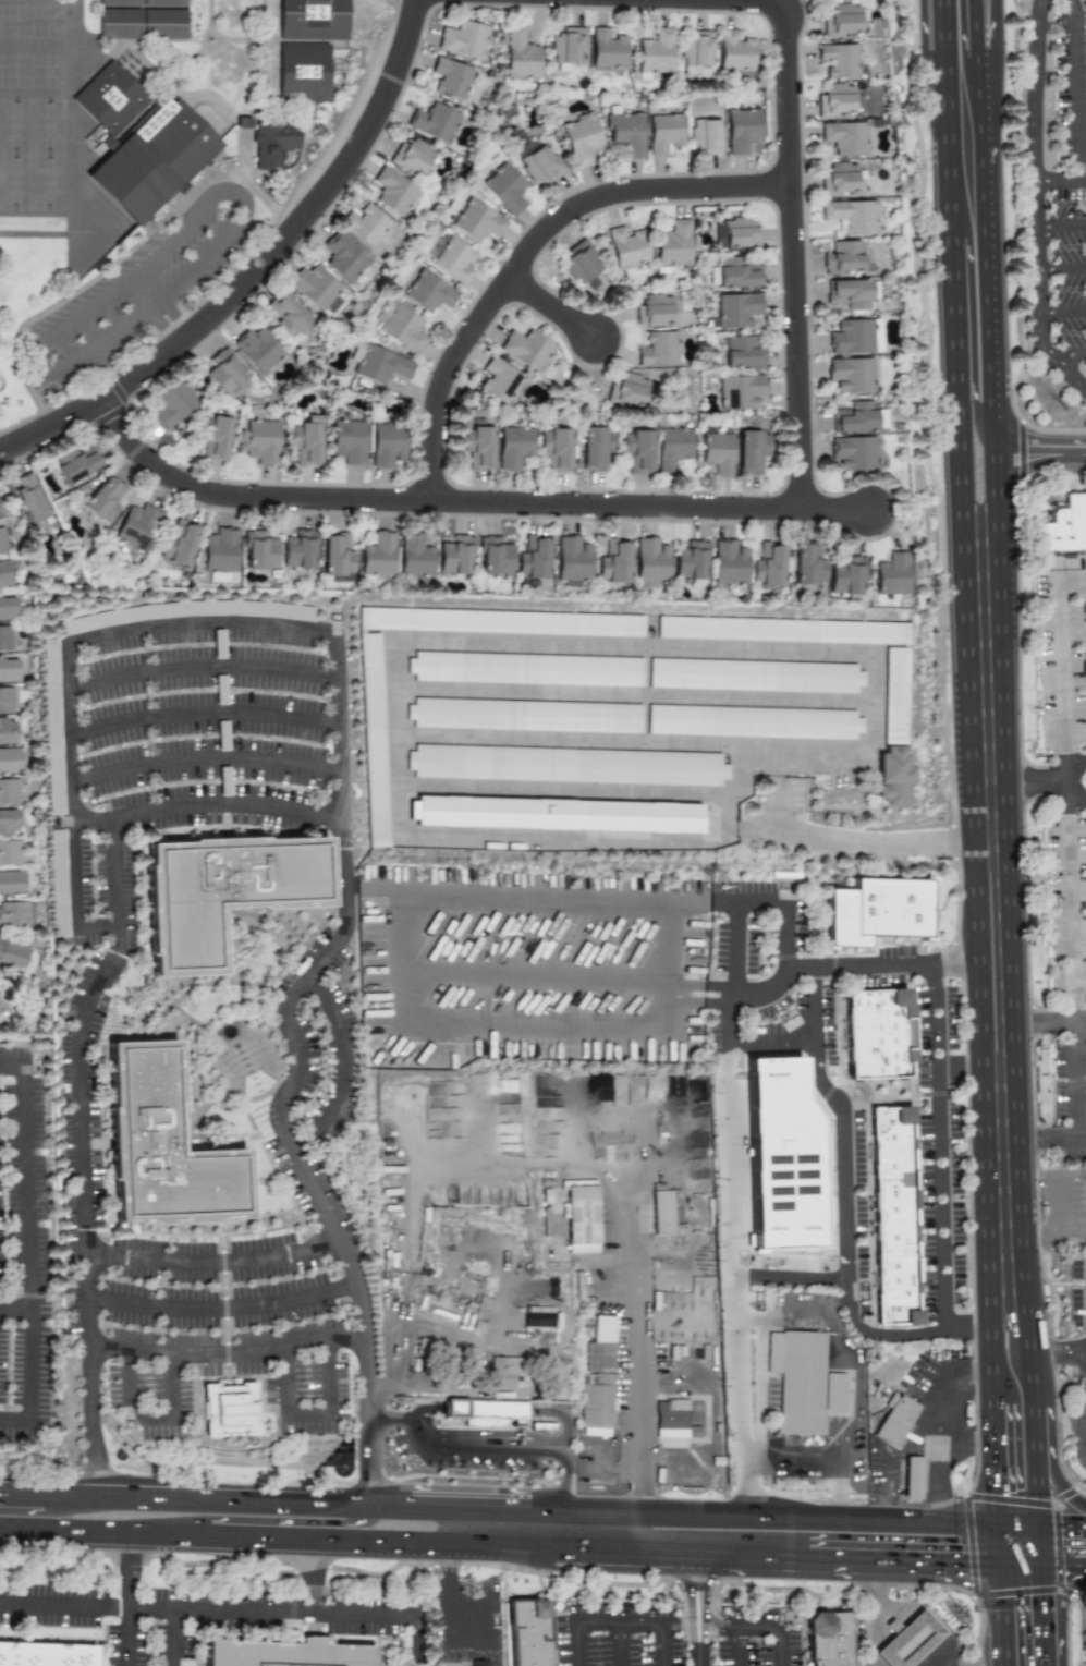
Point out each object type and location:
building: (123, 3)
building: (168, 3)
building: (317, 20)
building: (841, 21)
road: (974, 25)
building: (123, 26)
building: (167, 26)
building: (463, 39)
building: (566, 48)
building: (606, 49)
building: (696, 52)
building: (734, 52)
building: (655, 53)
building: (520, 54)
building: (838, 59)
building: (306, 75)
building: (451, 77)
road: (1075, 89)
building: (111, 101)
building: (835, 101)
building: (435, 122)
building: (742, 130)
building: (664, 133)
building: (624, 134)
building: (705, 136)
building: (844, 138)
building: (581, 139)
building: (178, 144)
building: (277, 147)
building: (412, 156)
building: (535, 161)
building: (840, 180)
road: (1059, 181)
building: (135, 186)
building: (504, 187)
building: (393, 192)
road: (1034, 205)
building: (850, 216)
building: (476, 221)
building: (366, 224)
road: (1060, 228)
building: (736, 233)
road: (792, 241)
building: (673, 243)
building: (626, 246)
road: (983, 247)
road: (528, 252)
building: (344, 257)
building: (450, 258)
building: (844, 258)
building: (581, 263)
road: (952, 267)
road: (257, 269)
road: (135, 270)
road: (1061, 270)
building: (735, 273)
parking lot: (1059, 277)
building: (316, 288)
building: (427, 291)
building: (851, 292)
road: (553, 311)
building: (652, 311)
building: (735, 311)
road: (1062, 313)
building: (289, 315)
road: (174, 318)
building: (400, 326)
road: (163, 328)
building: (855, 337)
building: (525, 349)
building: (658, 349)
building: (258, 350)
building: (741, 353)
road: (1066, 355)
building: (380, 365)
building: (227, 374)
building: (853, 374)
building: (499, 379)
building: (627, 391)
building: (740, 391)
park: (12, 401)
building: (172, 404)
road: (968, 405)
building: (857, 417)
building: (215, 436)
building: (261, 440)
building: (305, 440)
building: (347, 440)
building: (387, 443)
building: (477, 447)
building: (513, 447)
building: (554, 447)
building: (594, 447)
road: (1037, 447)
building: (673, 448)
building: (637, 450)
building: (751, 450)
building: (853, 452)
building: (717, 453)
building: (75, 463)
road: (990, 488)
building: (29, 499)
building: (102, 500)
road: (431, 502)
road: (838, 512)
building: (0, 514)
building: (1064, 526)
building: (137, 527)
building: (2, 540)
building: (180, 546)
building: (258, 550)
building: (298, 551)
building: (377, 555)
building: (220, 556)
building: (335, 556)
building: (456, 556)
building: (493, 556)
building: (415, 557)
building: (533, 559)
building: (572, 561)
building: (691, 561)
building: (650, 562)
building: (613, 563)
building: (729, 563)
building: (807, 567)
building: (768, 568)
road: (1073, 569)
building: (7, 574)
building: (890, 575)
building: (847, 576)
building: (8, 608)
building: (502, 622)
road: (191, 624)
building: (783, 631)
building: (364, 632)
building: (5, 639)
building: (9, 669)
building: (528, 669)
road: (199, 671)
building: (756, 677)
road: (986, 682)
road: (394, 689)
road: (634, 695)
building: (896, 695)
building: (7, 700)
road: (202, 715)
building: (527, 716)
building: (756, 722)
building: (51, 727)
building: (7, 730)
building: (375, 740)
road: (203, 755)
building: (9, 761)
building: (898, 765)
building: (568, 766)
road: (1066, 780)
road: (1027, 783)
road: (575, 790)
building: (10, 791)
building: (894, 792)
road: (166, 807)
building: (557, 815)
building: (8, 822)
building: (11, 853)
road: (1066, 856)
building: (12, 884)
building: (57, 884)
road: (76, 886)
building: (230, 887)
road: (371, 891)
road: (785, 912)
building: (878, 912)
building: (15, 914)
road: (1011, 953)
road: (978, 954)
building: (13, 956)
road: (953, 964)
road: (535, 976)
road: (1078, 980)
road: (728, 983)
road: (812, 993)
building: (0, 1007)
road: (403, 1023)
road: (1050, 1024)
building: (883, 1031)
building: (849, 1071)
road: (967, 1072)
building: (168, 1138)
road: (1042, 1145)
building: (893, 1148)
building: (780, 1154)
road: (413, 1174)
road: (1052, 1183)
building: (1085, 1185)
road: (748, 1188)
road: (1004, 1209)
building: (661, 1213)
building: (587, 1215)
building: (895, 1224)
road: (1046, 1229)
road: (27, 1248)
road: (209, 1261)
road: (350, 1280)
building: (896, 1291)
road: (220, 1309)
road: (14, 1310)
road: (821, 1313)
building: (537, 1317)
road: (640, 1334)
road: (1047, 1346)
building: (601, 1347)
road: (227, 1352)
road: (1084, 1369)
building: (508, 1370)
road: (1034, 1372)
road: (988, 1373)
building: (801, 1382)
building: (602, 1401)
building: (239, 1411)
building: (486, 1413)
road: (308, 1415)
building: (676, 1419)
road: (757, 1419)
building: (898, 1421)
road: (398, 1423)
building: (545, 1424)
road: (916, 1424)
road: (152, 1427)
road: (956, 1431)
road: (1038, 1435)
road: (845, 1443)
road: (1076, 1447)
building: (1085, 1447)
road: (536, 1452)
road: (948, 1457)
road: (369, 1463)
road: (991, 1463)
building: (911, 1477)
road: (1059, 1488)
traffic signals: (991, 1489)
road: (1039, 1492)
road: (939, 1496)
road: (265, 1501)
road: (761, 1517)
road: (1016, 1521)
road: (1063, 1521)
traffic signals: (1070, 1522)
road: (329, 1530)
road: (102, 1533)
road: (243, 1536)
road: (403, 1542)
road: (992, 1542)
road: (1041, 1542)
road: (539, 1545)
road: (598, 1546)
road: (723, 1551)
road: (817, 1554)
road: (911, 1559)
traffic signals: (962, 1562)
road: (1016, 1562)
road: (1063, 1565)
road: (312, 1574)
road: (130, 1593)
traffic signals: (1042, 1601)
road: (94, 1606)
road: (1042, 1606)
road: (699, 1607)
road: (1060, 1609)
road: (291, 1610)
road: (876, 1613)
road: (995, 1614)
road: (449, 1617)
road: (1069, 1624)
road: (672, 1625)
building: (534, 1633)
parking lot: (674, 1637)
building: (830, 1639)
building: (910, 1641)
road: (621, 1644)
road: (660, 1645)
road: (739, 1646)
building: (46, 1655)
building: (295, 1656)
road: (1044, 1657)
building: (478, 1664)

